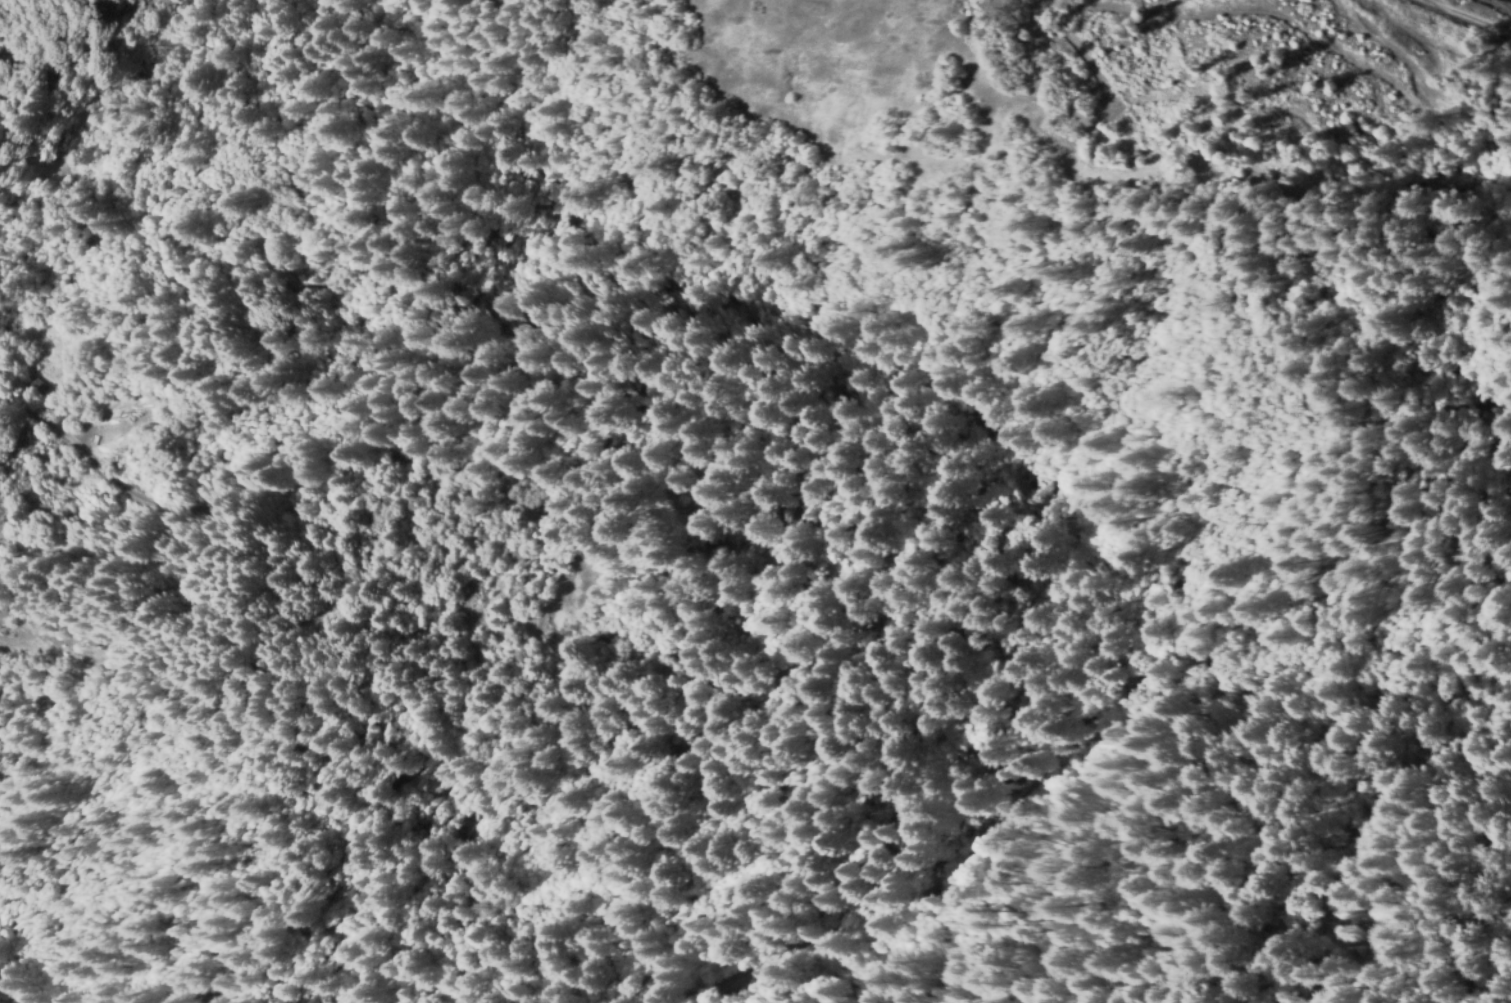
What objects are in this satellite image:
building: (34, 385)
building: (592, 606)
building: (573, 618)
building: (582, 630)
road: (892, 653)

